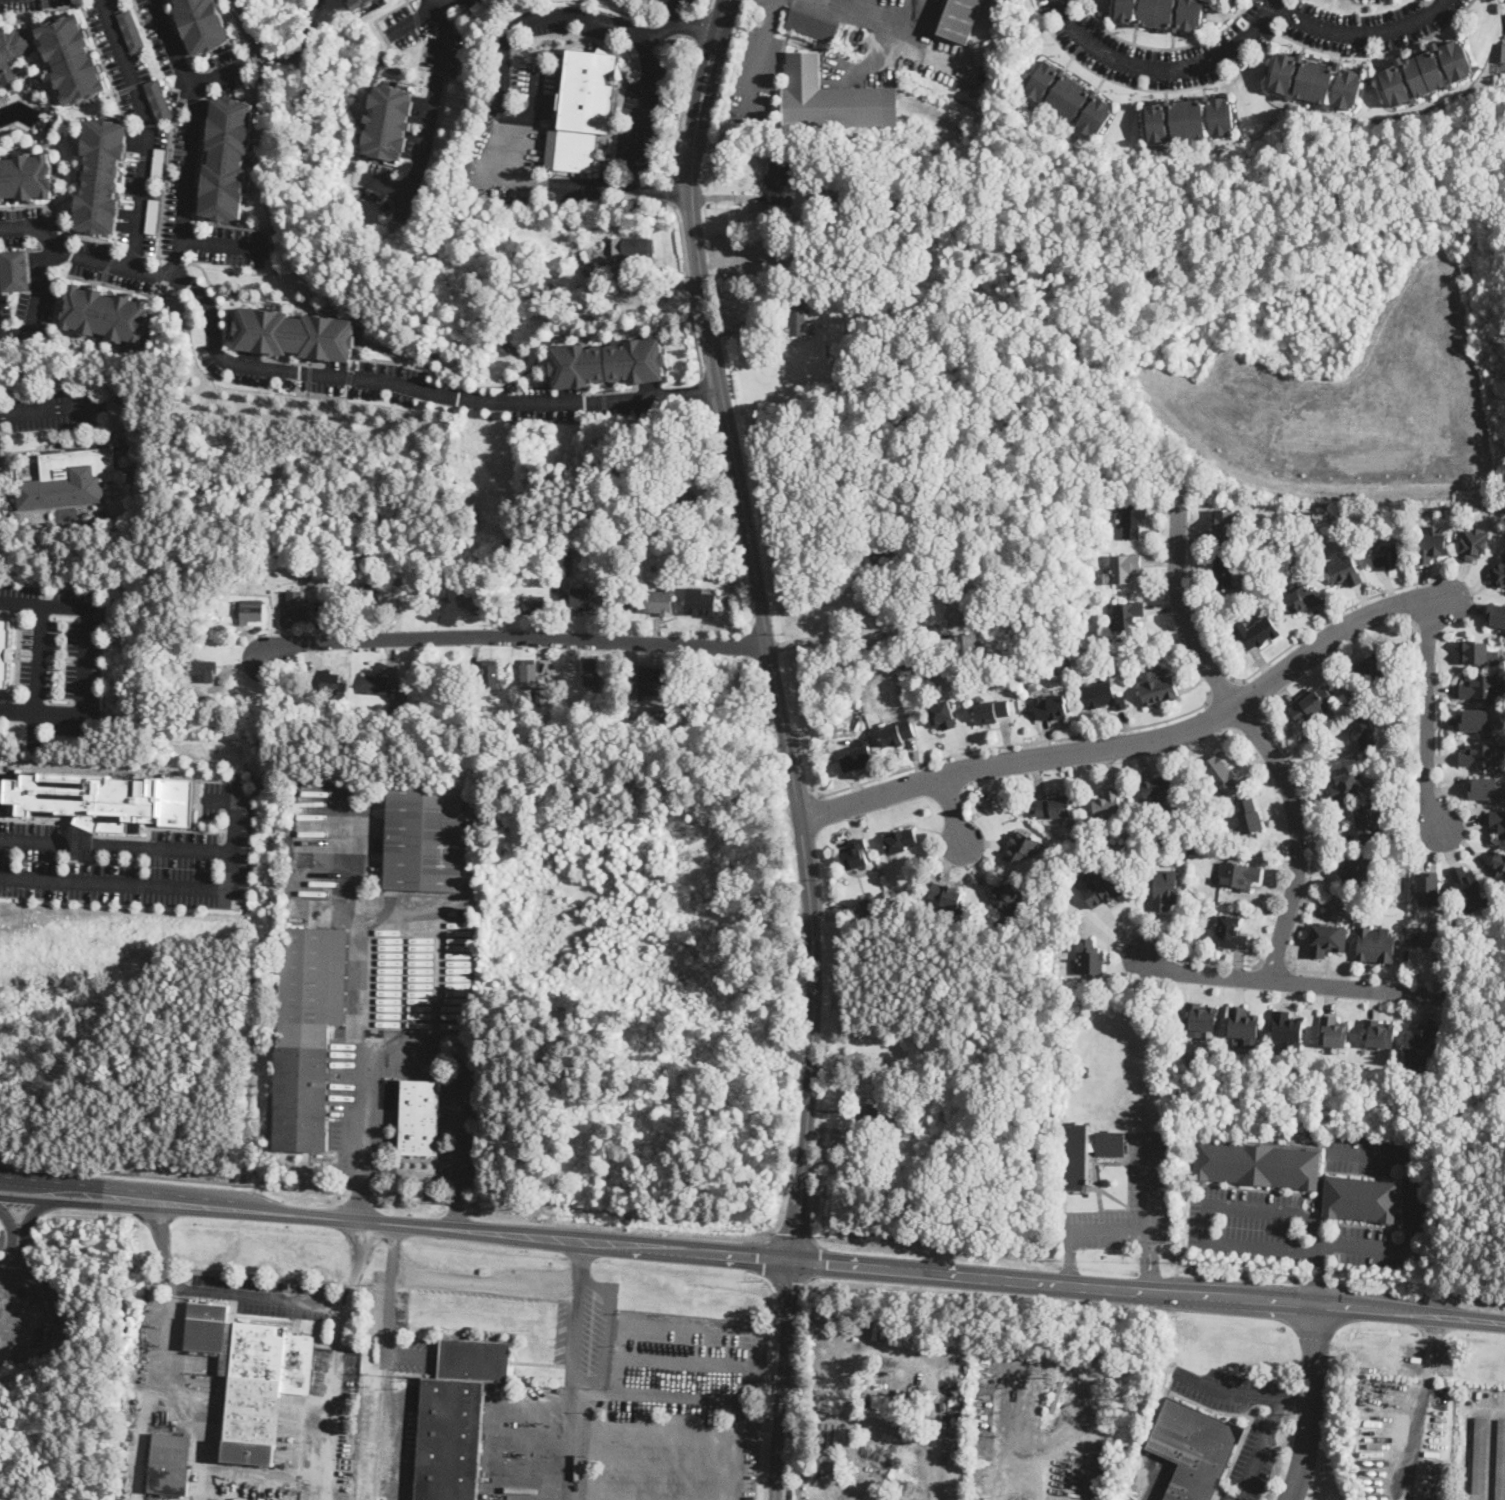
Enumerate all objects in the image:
parking lot: (420, 0)
road: (811, 0)
parking lot: (670, 2)
building: (360, 3)
road: (743, 3)
parking lot: (30, 4)
parking lot: (467, 4)
road: (438, 6)
road: (708, 6)
road: (230, 8)
road: (676, 8)
road: (883, 9)
road: (41, 10)
building: (1160, 13)
road: (563, 14)
building: (960, 19)
road: (412, 20)
parking lot: (572, 21)
building: (202, 23)
road: (685, 23)
parking lot: (1365, 24)
building: (810, 25)
road: (700, 29)
building: (131, 30)
road: (661, 33)
road: (1359, 35)
parking lot: (448, 38)
road: (299, 43)
building: (856, 43)
parking lot: (1094, 43)
parking lot: (1209, 51)
building: (12, 53)
building: (1500, 53)
building: (67, 57)
road: (761, 59)
road: (103, 61)
road: (1168, 66)
parking lot: (230, 69)
parking lot: (756, 69)
road: (216, 73)
building: (1424, 74)
road: (723, 76)
building: (1315, 81)
road: (130, 86)
parking lot: (538, 88)
building: (829, 98)
building: (1067, 98)
building: (158, 100)
building: (582, 110)
road: (431, 112)
road: (680, 112)
parking lot: (641, 113)
building: (1187, 120)
building: (388, 121)
road: (145, 131)
road: (189, 137)
building: (227, 157)
building: (158, 164)
building: (24, 175)
building: (96, 176)
parking lot: (375, 181)
building: (778, 184)
road: (387, 186)
road: (592, 186)
parking lot: (584, 188)
road: (662, 192)
road: (673, 192)
building: (826, 194)
road: (26, 203)
building: (152, 215)
building: (786, 220)
parking lot: (17, 224)
road: (82, 234)
road: (681, 241)
road: (220, 243)
parking lot: (231, 246)
building: (632, 246)
road: (133, 252)
road: (154, 257)
road: (176, 259)
building: (571, 260)
building: (13, 270)
road: (688, 286)
building: (537, 289)
building: (781, 289)
road: (36, 300)
parking lot: (30, 308)
building: (105, 313)
building: (798, 321)
building: (294, 333)
road: (694, 335)
building: (603, 362)
road: (437, 371)
parking lot: (318, 375)
road: (328, 377)
road: (704, 390)
parking lot: (591, 404)
parking lot: (54, 407)
road: (50, 409)
road: (709, 415)
road: (50, 430)
building: (95, 440)
building: (129, 474)
building: (68, 479)
building: (652, 479)
building: (682, 501)
building: (653, 506)
building: (1503, 508)
building: (1306, 514)
building: (869, 516)
building: (879, 520)
building: (1133, 520)
building: (1223, 526)
building: (891, 537)
building: (1472, 544)
building: (1430, 547)
building: (882, 551)
building: (1388, 557)
building: (1124, 569)
building: (1497, 571)
building: (1344, 572)
building: (1222, 574)
building: (711, 577)
building: (308, 578)
building: (564, 578)
road: (1461, 580)
building: (398, 581)
building: (368, 597)
building: (581, 598)
building: (475, 600)
building: (1302, 600)
building: (623, 601)
road: (1442, 601)
building: (658, 602)
building: (698, 604)
road: (1439, 604)
building: (534, 605)
building: (293, 610)
building: (250, 611)
building: (955, 611)
building: (1495, 614)
road: (87, 616)
building: (1127, 616)
road: (765, 628)
building: (218, 633)
building: (1255, 633)
road: (854, 635)
road: (512, 639)
building: (969, 644)
road: (18, 645)
building: (4, 650)
building: (1476, 651)
parking lot: (59, 654)
road: (42, 658)
building: (987, 659)
building: (1372, 667)
road: (1258, 668)
building: (202, 669)
building: (591, 672)
building: (528, 673)
building: (489, 674)
building: (649, 680)
building: (329, 681)
building: (375, 685)
building: (1481, 685)
road: (1221, 686)
building: (1158, 691)
road: (1252, 694)
road: (7, 695)
building: (1103, 697)
building: (538, 700)
building: (1307, 705)
building: (1345, 706)
building: (1051, 708)
building: (991, 712)
building: (574, 713)
road: (1428, 713)
road: (44, 714)
building: (942, 715)
building: (389, 716)
road: (1439, 716)
building: (1476, 721)
park: (1408, 728)
building: (1364, 732)
building: (896, 734)
road: (1260, 739)
road: (1016, 743)
road: (1121, 749)
building: (1480, 756)
building: (856, 758)
building: (1221, 773)
building: (1346, 787)
building: (1486, 787)
building: (1158, 789)
building: (102, 800)
building: (984, 802)
building: (1108, 804)
building: (1054, 807)
road: (238, 808)
road: (954, 813)
building: (1249, 817)
road: (30, 819)
building: (1367, 822)
building: (1497, 822)
building: (424, 837)
building: (1076, 838)
road: (118, 842)
building: (899, 842)
building: (1020, 848)
building: (855, 854)
parking lot: (135, 860)
building: (1499, 865)
building: (1355, 870)
building: (1043, 871)
building: (1239, 876)
road: (137, 885)
building: (1430, 888)
building: (1468, 888)
building: (1099, 889)
building: (1165, 890)
building: (946, 895)
building: (1004, 895)
building: (870, 905)
road: (1303, 905)
building: (1230, 934)
building: (1429, 939)
building: (1327, 940)
building: (1375, 946)
building: (1089, 958)
road: (1275, 959)
road: (1218, 961)
road: (1290, 982)
road: (357, 1002)
building: (1199, 1019)
building: (1242, 1024)
building: (1286, 1028)
building: (1335, 1031)
building: (307, 1033)
building: (1378, 1033)
building: (1419, 1040)
building: (881, 1045)
building: (1085, 1072)
park: (1111, 1074)
road: (460, 1095)
building: (877, 1114)
building: (942, 1115)
building: (419, 1118)
building: (1257, 1164)
building: (1076, 1171)
parking lot: (1148, 1171)
road: (122, 1174)
road: (67, 1184)
building: (1360, 1199)
parking lot: (1245, 1201)
road: (65, 1202)
road: (145, 1206)
road: (277, 1215)
road: (25, 1221)
road: (1149, 1221)
road: (424, 1226)
road: (10, 1227)
road: (793, 1233)
road: (622, 1245)
road: (1326, 1248)
road: (1321, 1253)
road: (765, 1256)
road: (581, 1258)
road: (1069, 1258)
road: (1151, 1259)
road: (817, 1260)
traffic signals: (793, 1262)
road: (12, 1268)
road: (1335, 1268)
road: (1238, 1275)
road: (487, 1281)
road: (789, 1281)
road: (1317, 1282)
road: (1390, 1289)
road: (1149, 1292)
road: (261, 1295)
building: (55, 1303)
road: (390, 1312)
road: (15, 1317)
road: (59, 1319)
parking lot: (395, 1322)
parking lot: (584, 1332)
road: (726, 1333)
road: (887, 1347)
road: (678, 1361)
building: (812, 1375)
building: (251, 1376)
road: (781, 1380)
road: (596, 1381)
parking lot: (1224, 1389)
building: (823, 1390)
road: (1243, 1392)
road: (652, 1399)
building: (880, 1403)
road: (1310, 1404)
road: (1420, 1409)
parking lot: (677, 1410)
building: (456, 1418)
building: (809, 1420)
building: (957, 1420)
road: (663, 1424)
road: (1469, 1436)
road: (569, 1439)
road: (1002, 1443)
road: (594, 1448)
road: (1261, 1448)
building: (1192, 1450)
building: (1480, 1455)
parking lot: (1254, 1460)
road: (662, 1462)
building: (805, 1463)
building: (1501, 1463)
building: (169, 1464)
road: (249, 1469)
building: (902, 1484)
road: (662, 1495)
building: (900, 1496)
building: (892, 1499)

